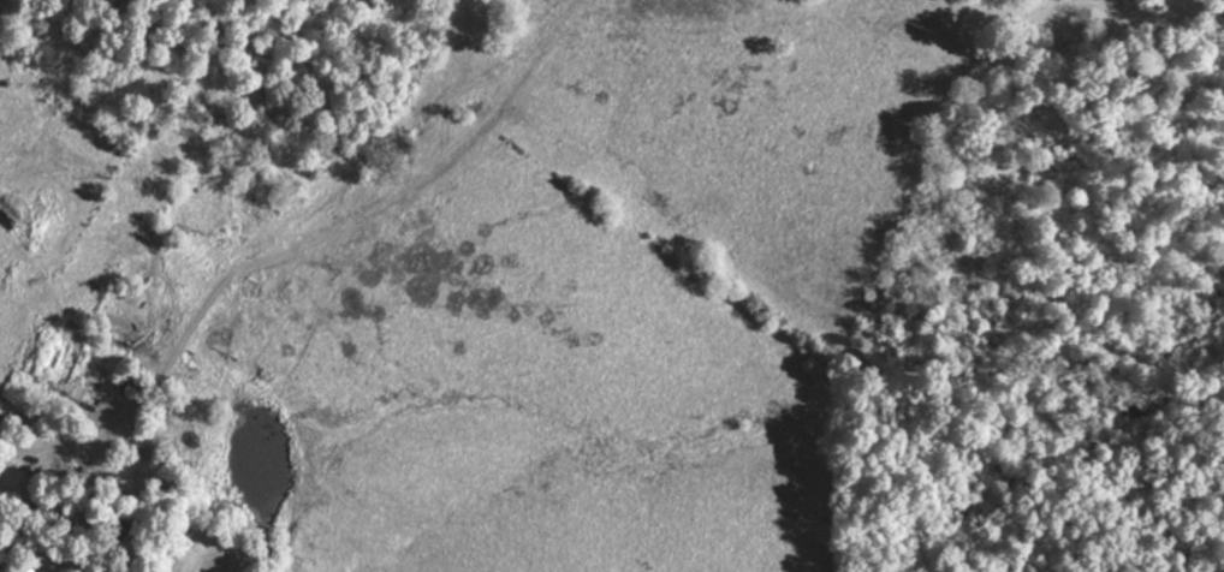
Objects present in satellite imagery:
road: (41, 550)
building: (242, 562)

